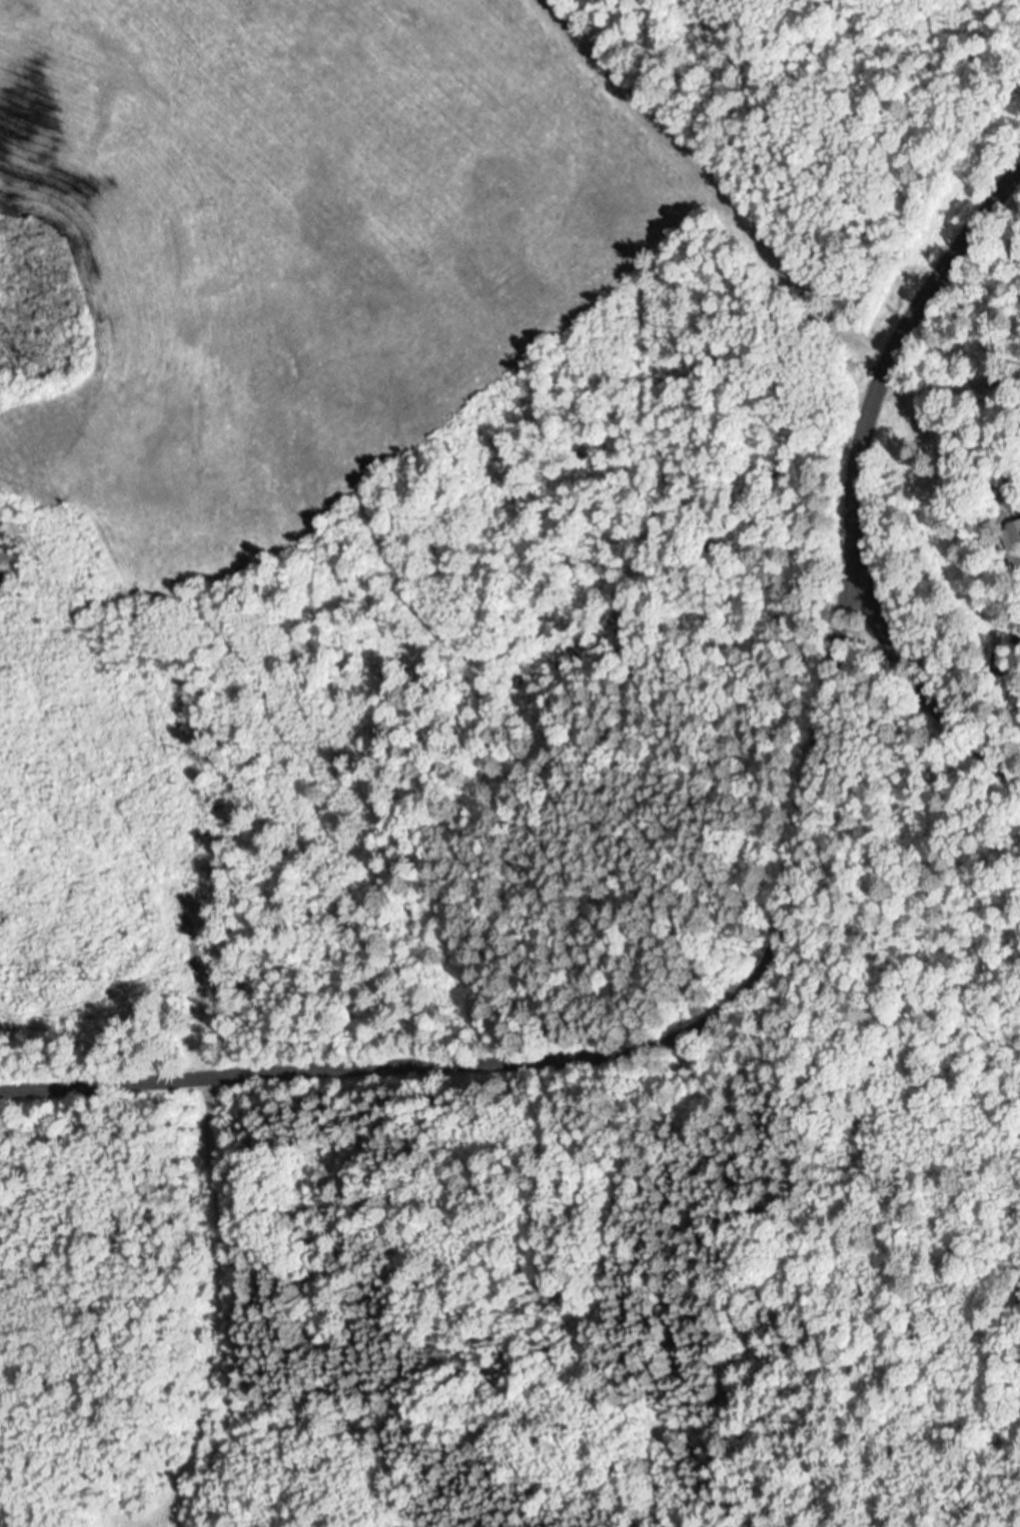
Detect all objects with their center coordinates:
airport: (227, 424)
road: (847, 469)
building: (1013, 532)
building: (191, 1042)
road: (594, 1053)

